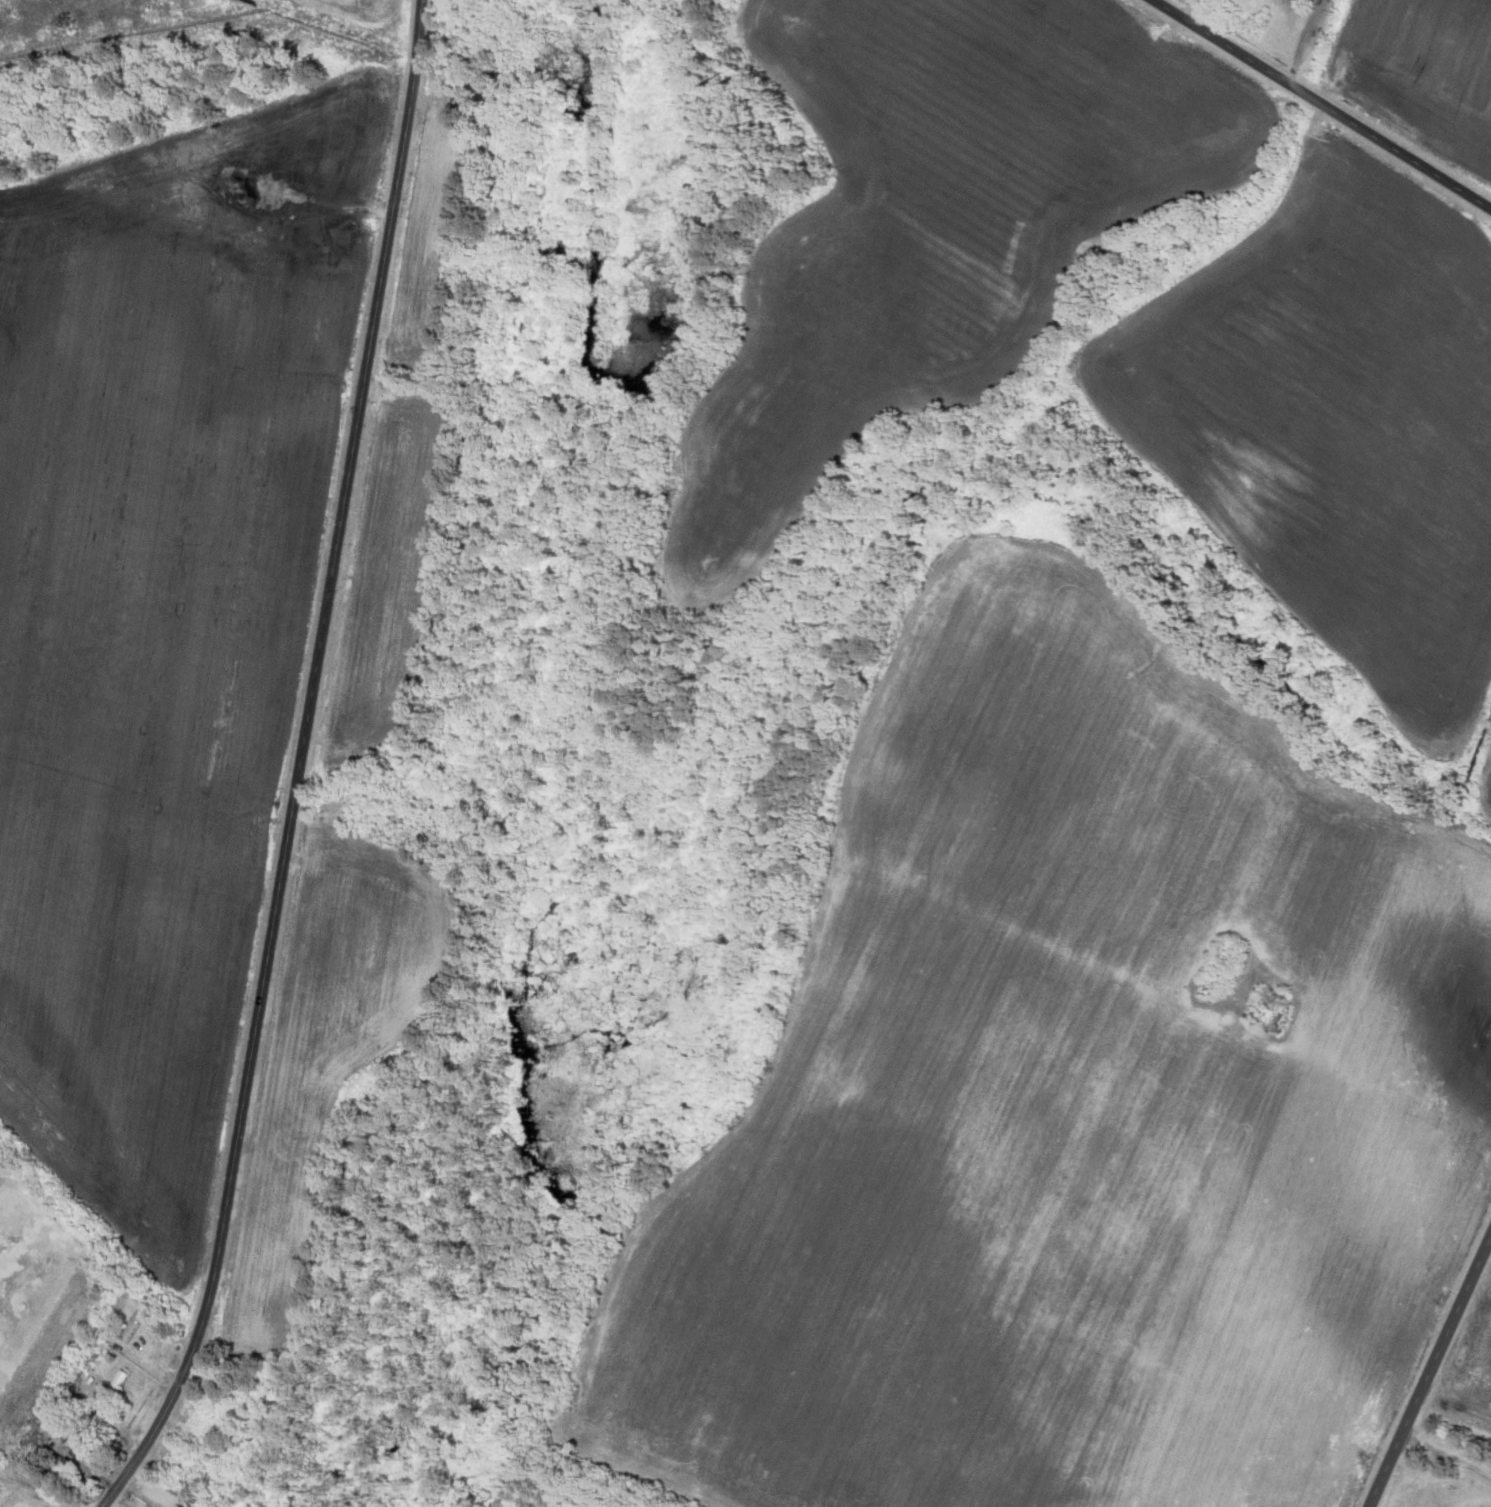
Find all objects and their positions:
road: (1193, 10)
road: (1323, 104)
road: (300, 766)
building: (126, 1327)
building: (83, 1361)
road: (1432, 1375)

